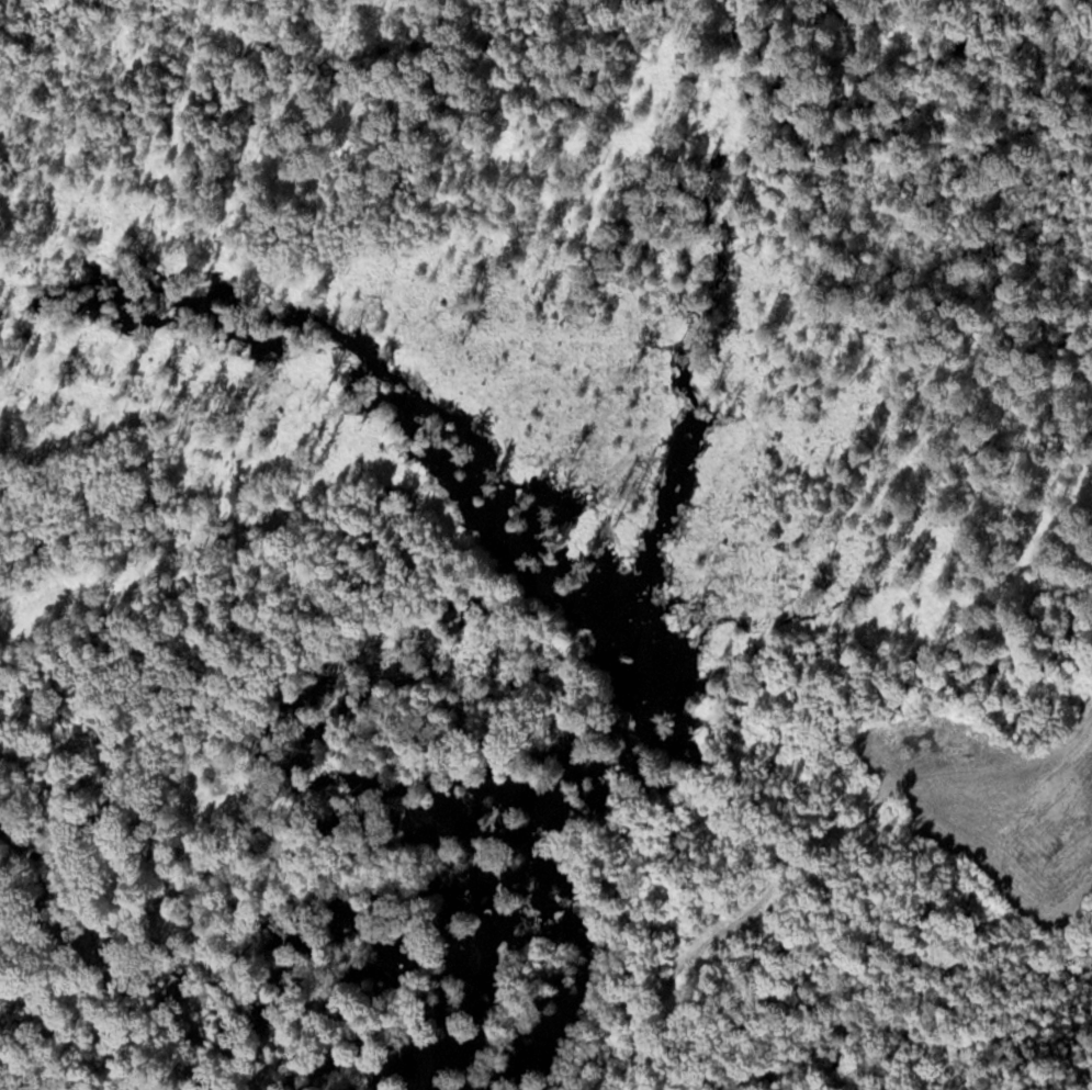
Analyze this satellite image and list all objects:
road: (1014, 751)

